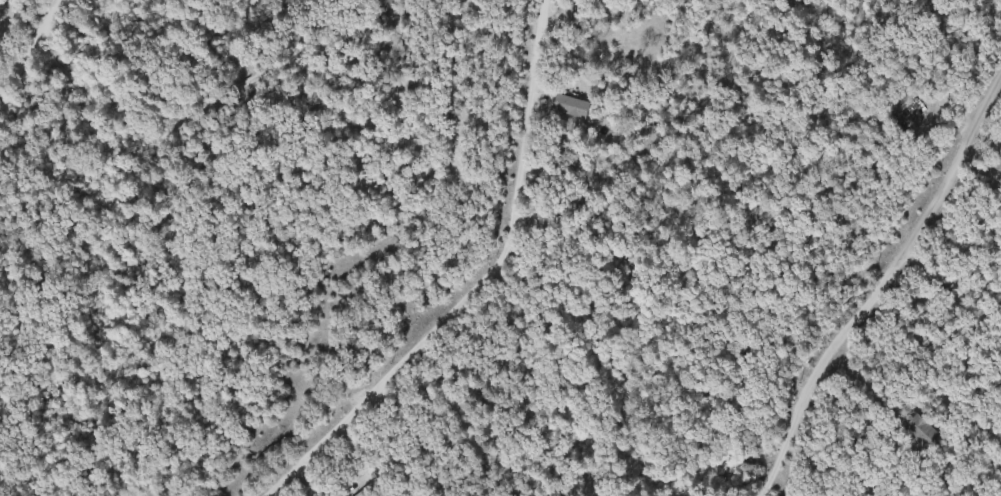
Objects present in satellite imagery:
road: (35, 48)
building: (570, 105)
building: (910, 112)
road: (959, 162)
road: (480, 286)
road: (979, 314)
road: (827, 363)
building: (919, 429)
building: (366, 490)

